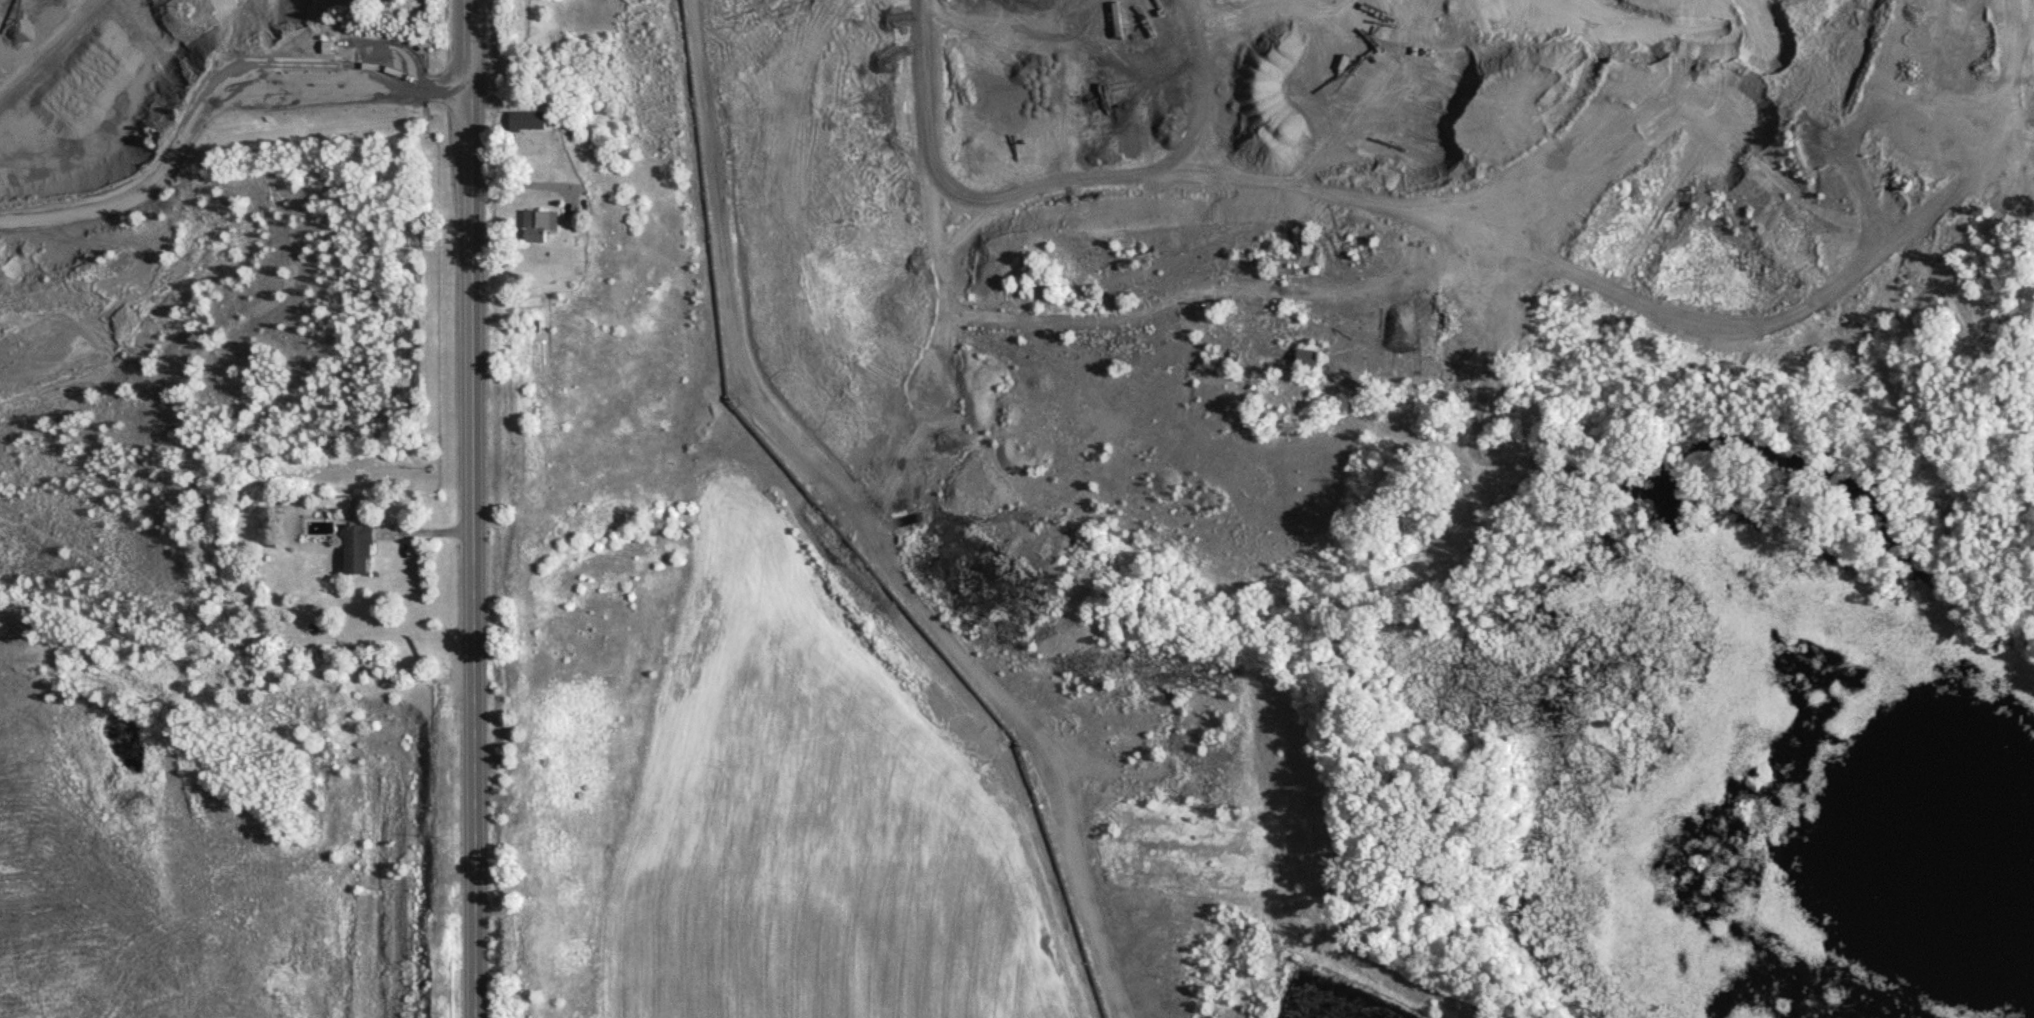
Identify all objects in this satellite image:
road: (1251, 46)
road: (238, 83)
building: (528, 125)
road: (539, 176)
building: (1996, 176)
building: (540, 229)
building: (1309, 360)
road: (478, 508)
building: (358, 554)

